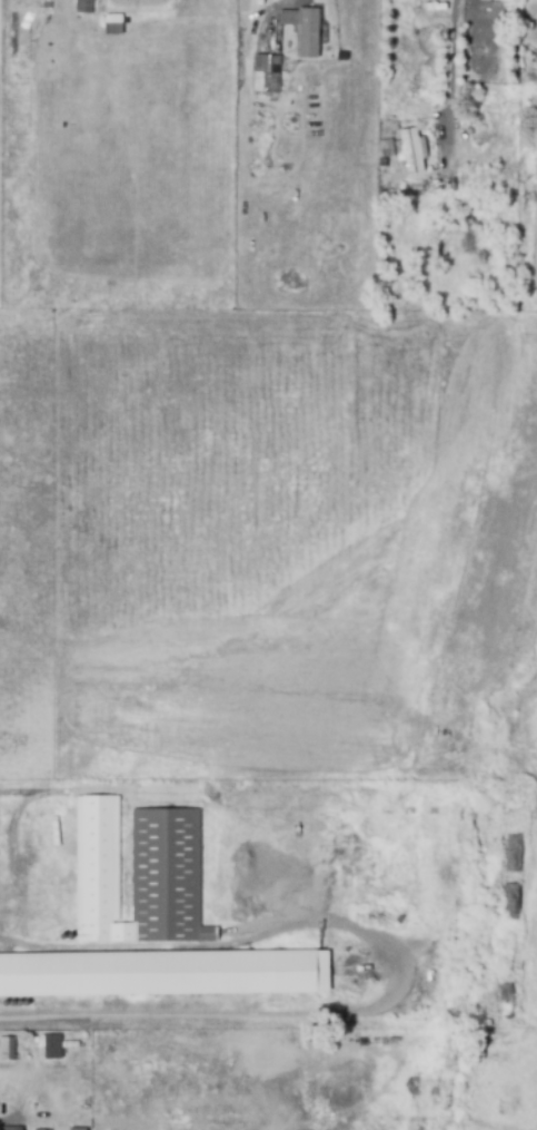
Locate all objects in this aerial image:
building: (84, 7)
building: (111, 23)
building: (308, 32)
road: (453, 67)
building: (266, 73)
building: (411, 151)
building: (510, 853)
building: (142, 874)
building: (158, 969)
building: (52, 1047)
building: (7, 1049)
building: (414, 1126)
building: (11, 1129)

